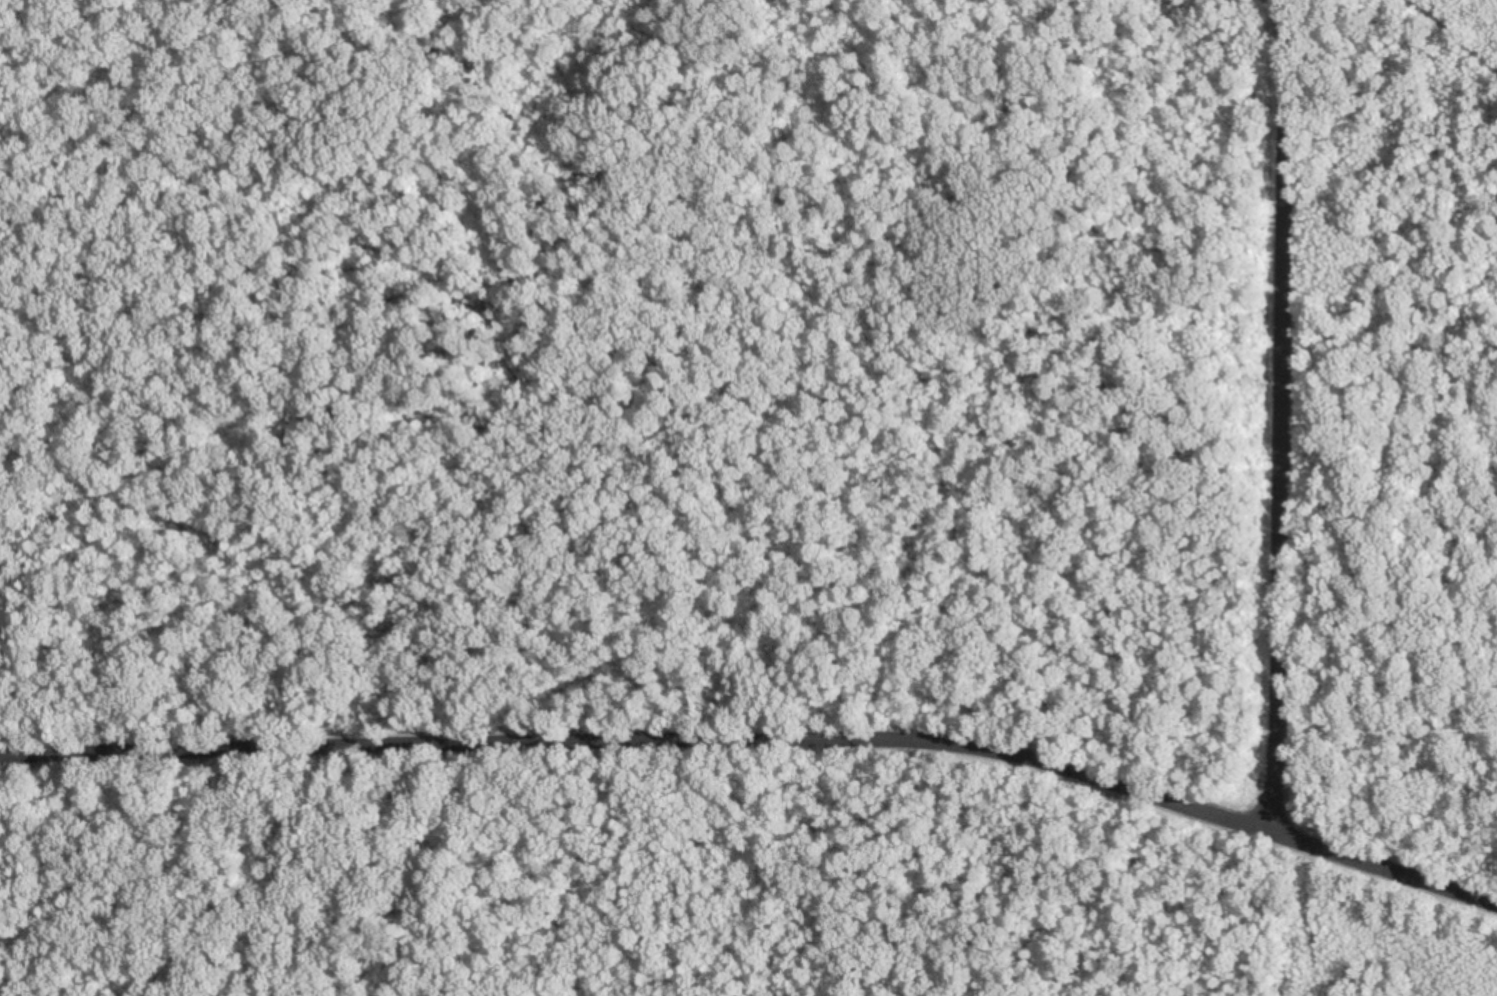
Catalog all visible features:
road: (1268, 395)
road: (634, 750)
road: (1372, 847)

